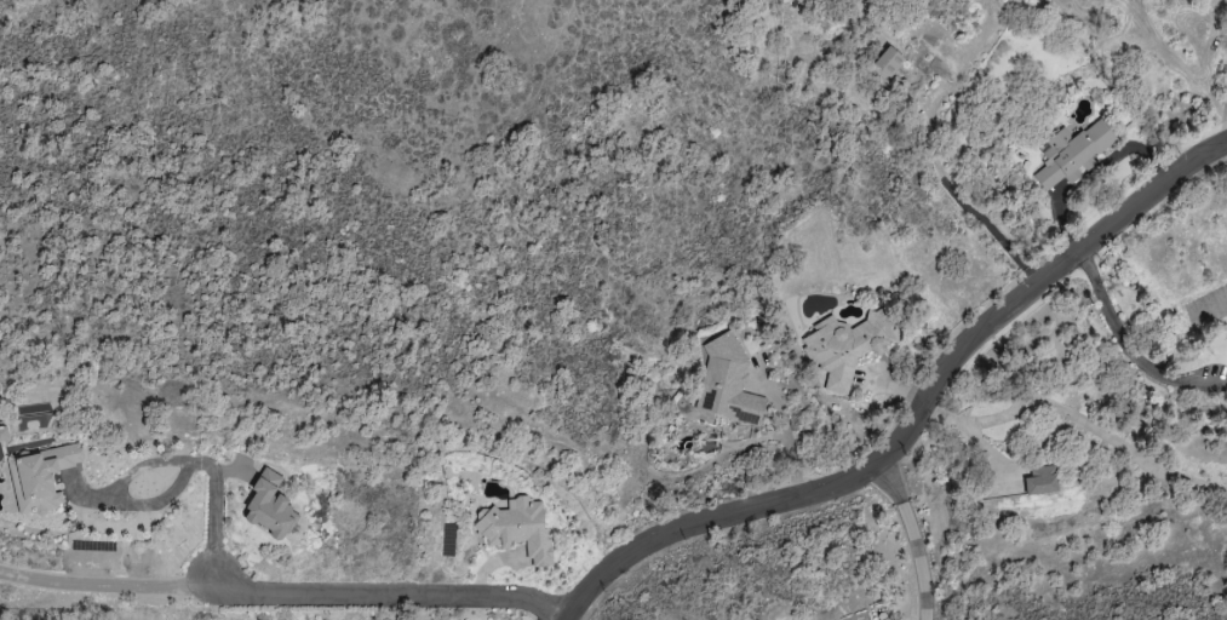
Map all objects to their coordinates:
building: (889, 62)
road: (1226, 133)
building: (1073, 154)
building: (848, 346)
road: (1133, 348)
building: (727, 385)
road: (1079, 419)
road: (918, 421)
road: (786, 442)
road: (166, 460)
building: (51, 478)
building: (1040, 481)
building: (279, 506)
building: (518, 528)
road: (911, 539)
road: (107, 579)
road: (396, 591)

